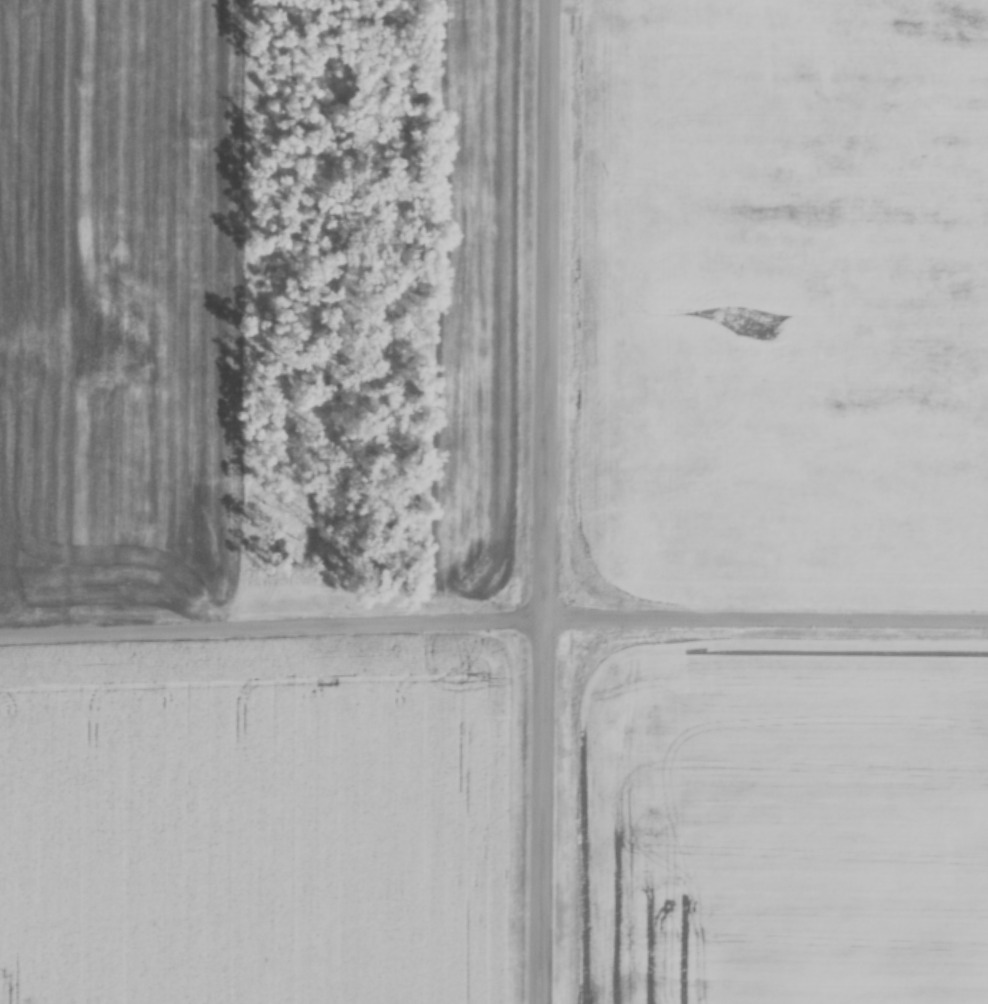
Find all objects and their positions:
road: (550, 501)
road: (493, 629)

